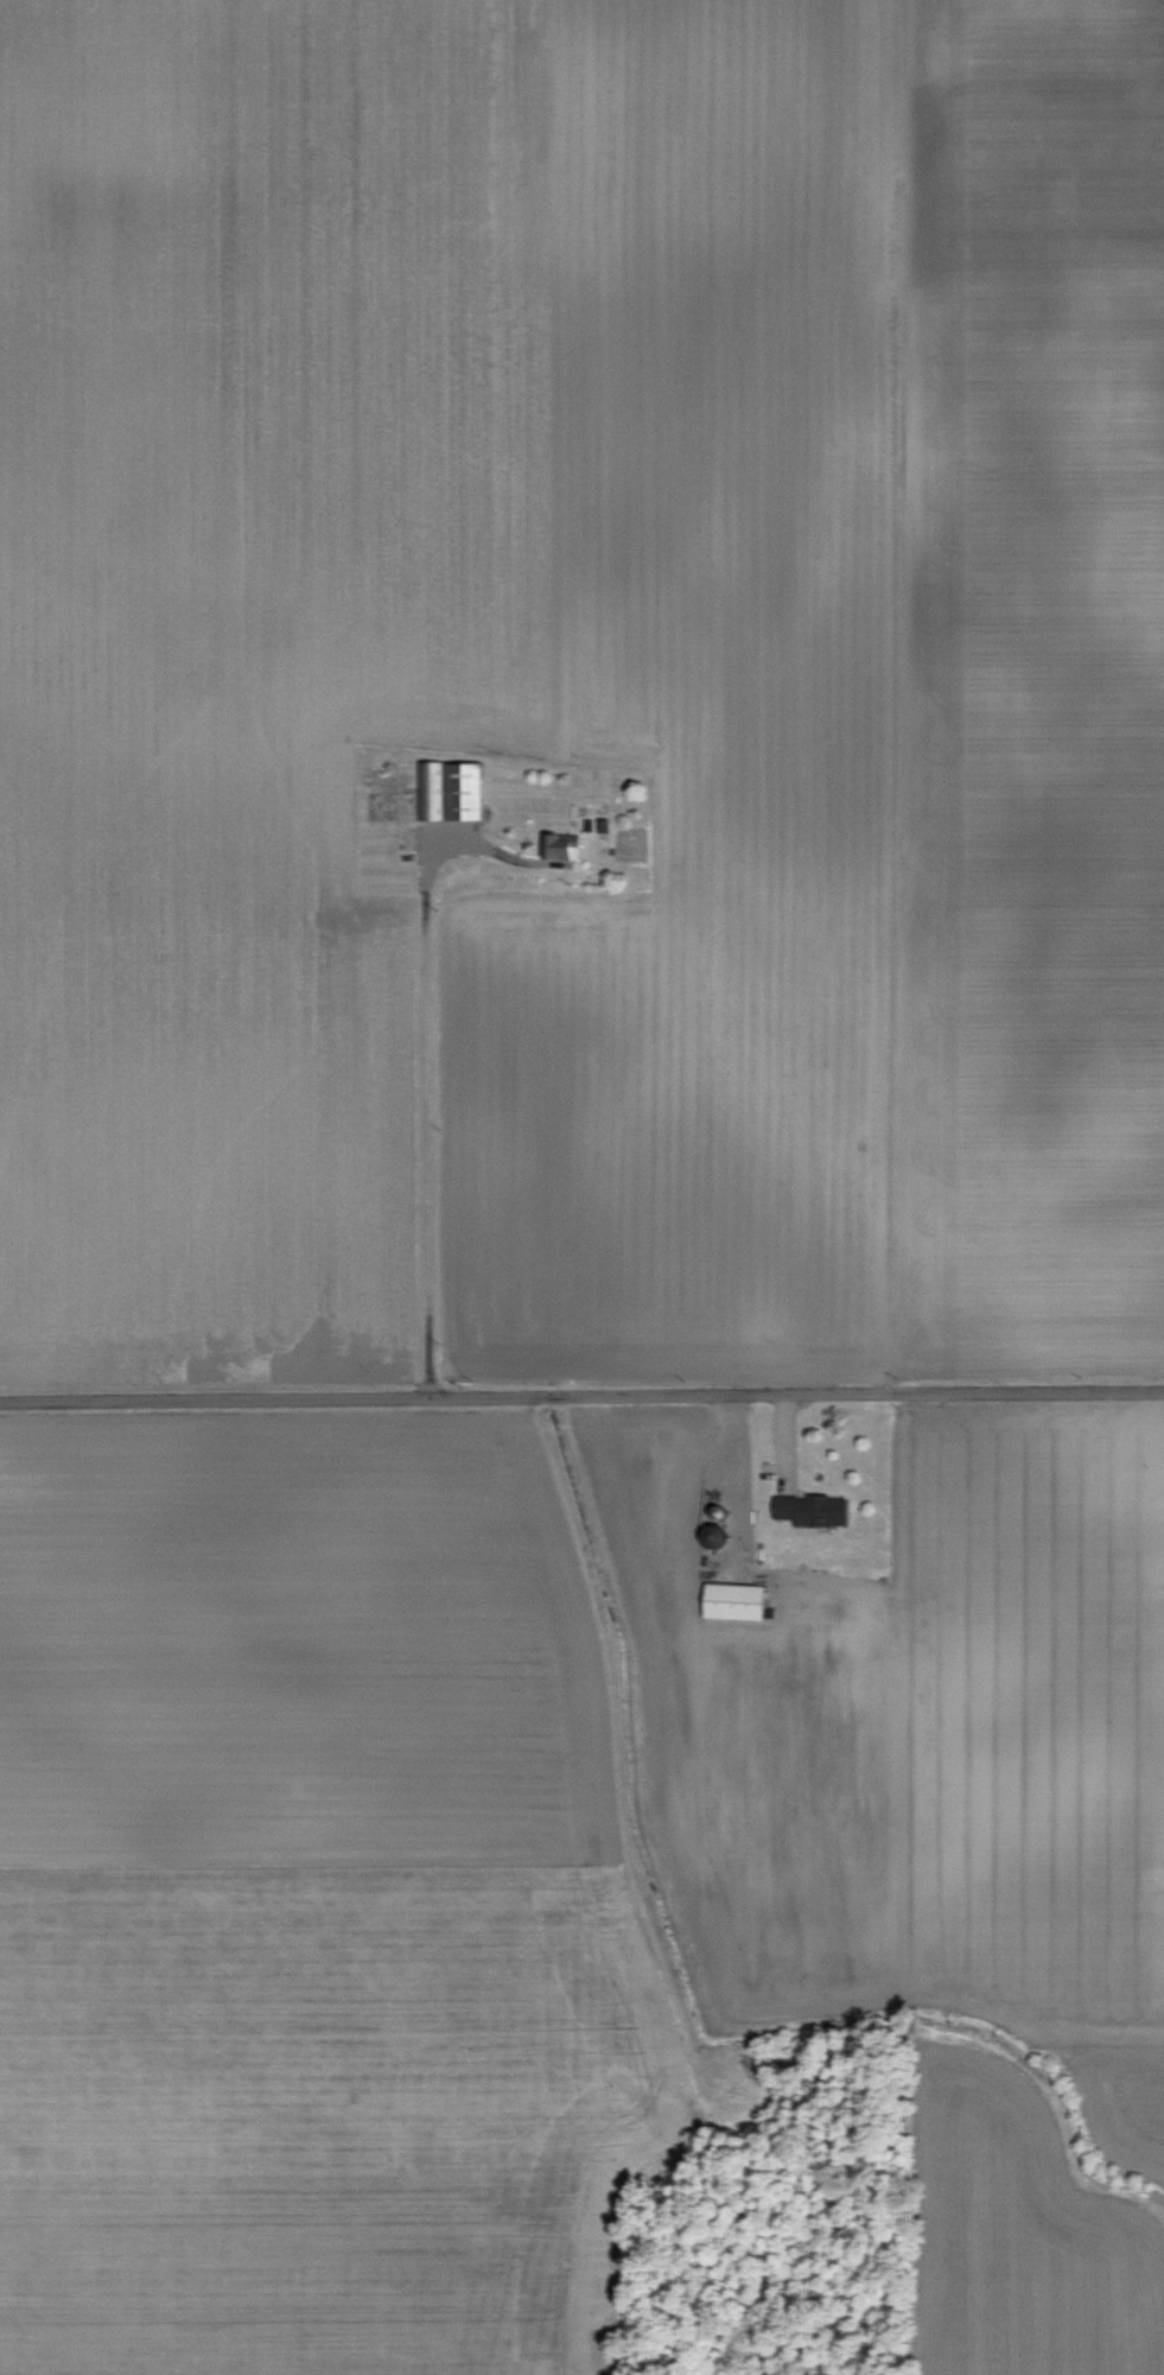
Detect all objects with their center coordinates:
road: (424, 1112)
road: (581, 1391)

